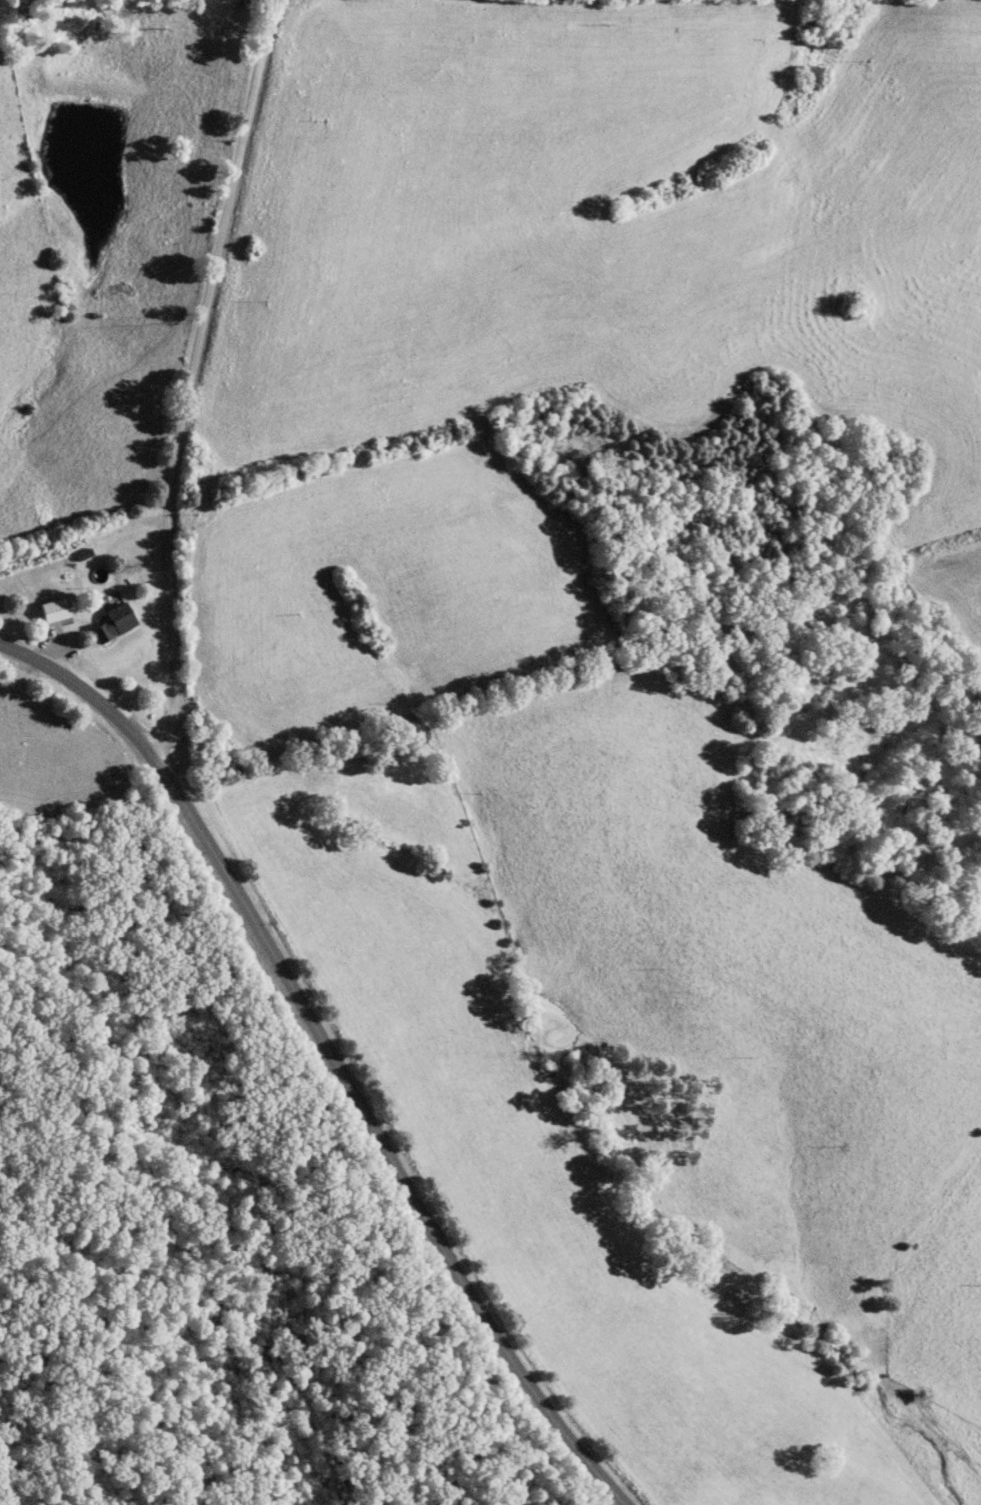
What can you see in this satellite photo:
road: (192, 378)
building: (52, 611)
building: (109, 623)
road: (328, 1057)

